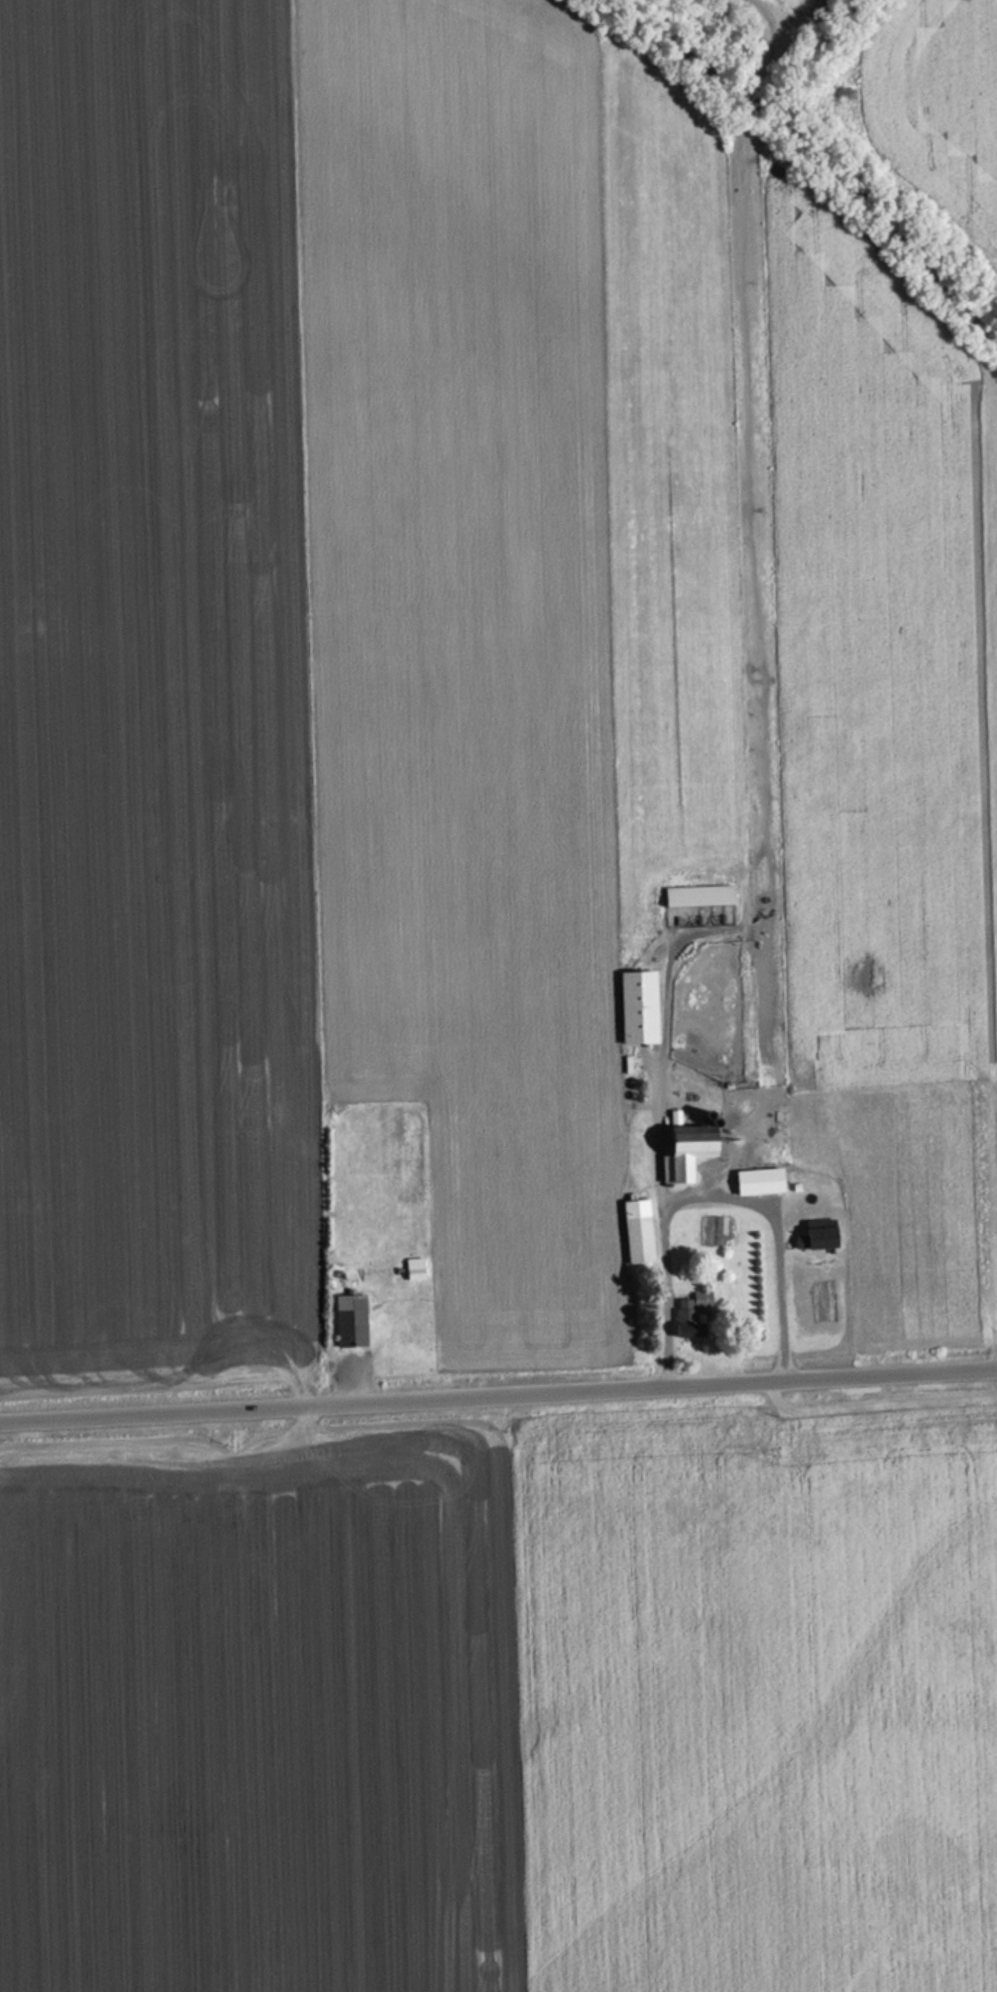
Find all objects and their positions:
building: (701, 895)
building: (641, 1007)
building: (691, 1152)
building: (641, 1240)
building: (338, 1294)
building: (694, 1315)
building: (348, 1329)
road: (498, 1398)

